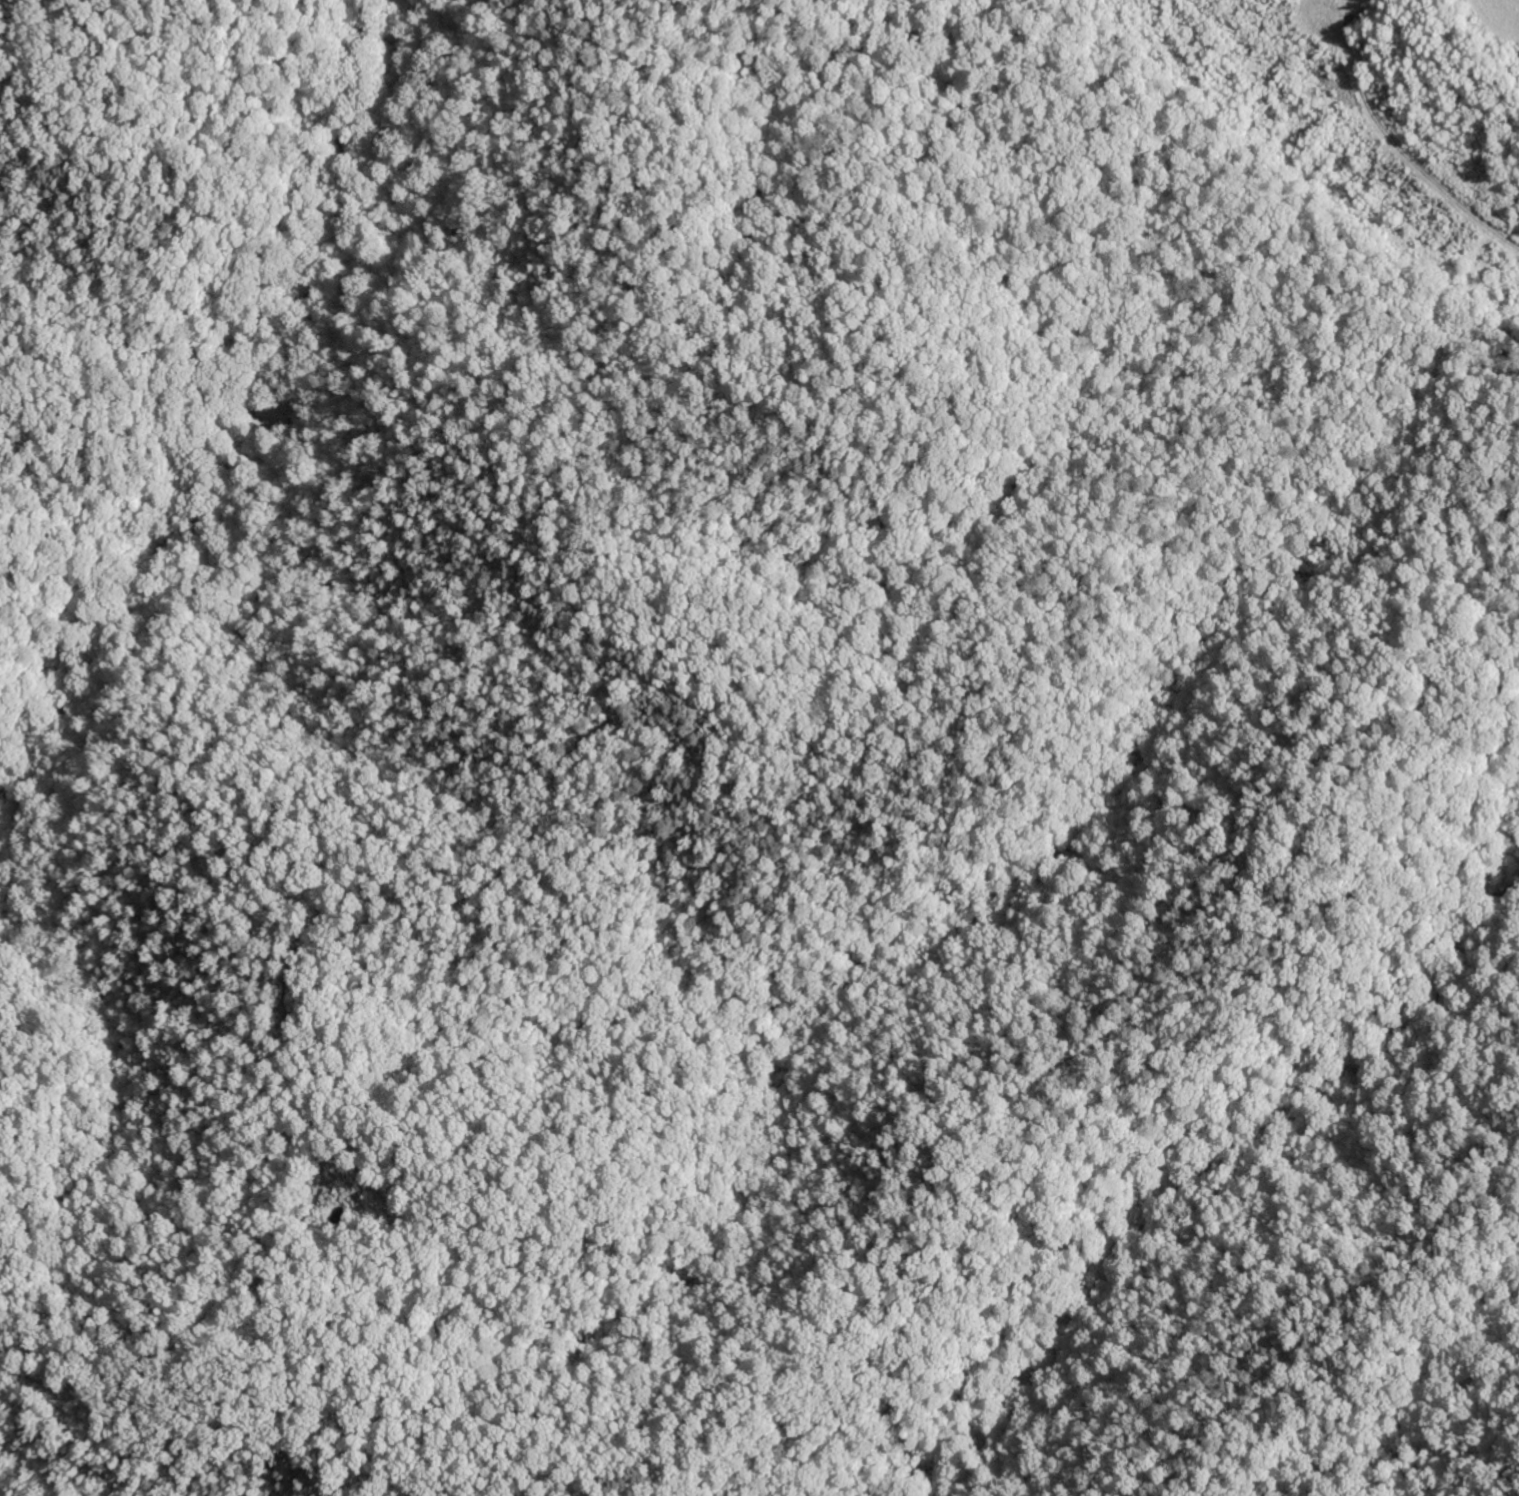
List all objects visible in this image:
road: (599, 711)

